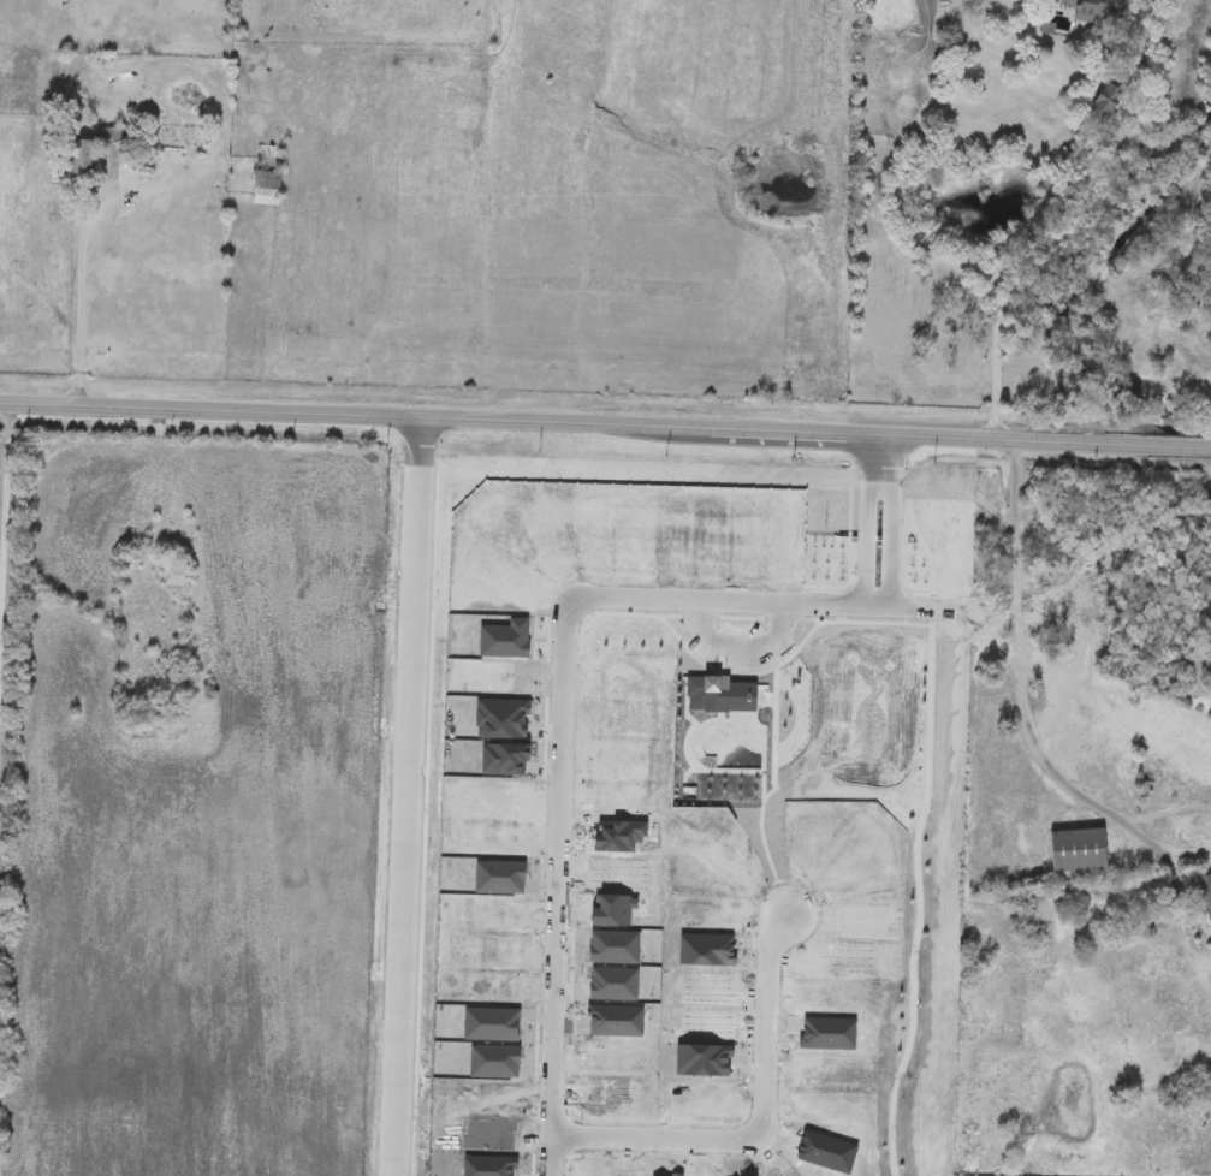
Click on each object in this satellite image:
building: (1094, 8)
road: (1014, 53)
building: (113, 133)
building: (83, 158)
building: (268, 173)
road: (921, 244)
road: (82, 280)
road: (605, 423)
road: (890, 521)
road: (759, 602)
road: (403, 796)
building: (1082, 850)
road: (556, 886)
building: (1206, 895)
road: (755, 1128)

